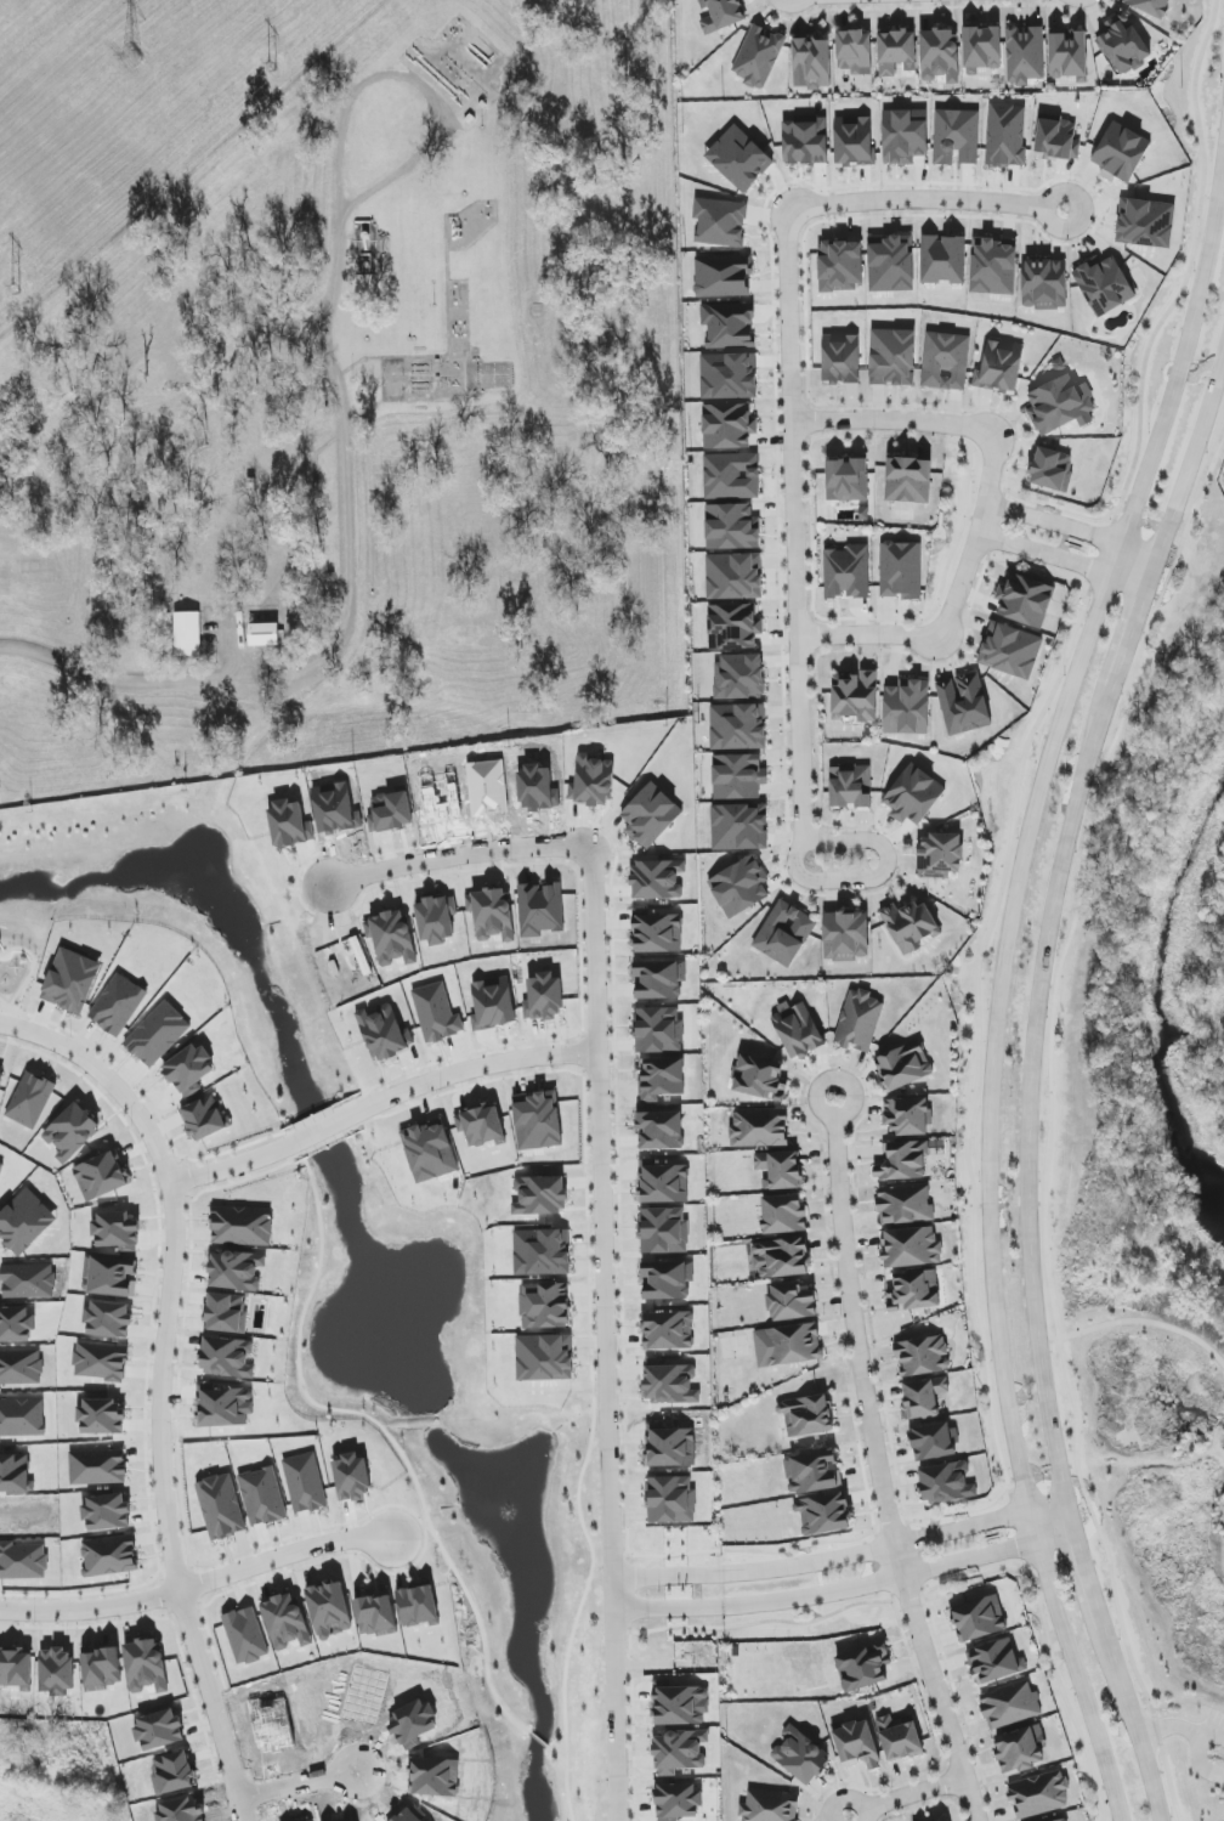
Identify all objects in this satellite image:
road: (967, 6)
building: (1151, 6)
building: (721, 15)
building: (1123, 45)
building: (981, 49)
building: (855, 52)
building: (896, 52)
building: (940, 55)
building: (1025, 55)
building: (1069, 55)
power tower: (134, 57)
building: (759, 57)
building: (811, 63)
road: (72, 69)
power tower: (273, 69)
road: (358, 89)
building: (905, 136)
building: (956, 137)
building: (854, 140)
building: (806, 141)
building: (1121, 153)
building: (739, 158)
road: (1052, 198)
road: (917, 199)
building: (720, 222)
building: (1146, 224)
building: (942, 260)
building: (891, 264)
building: (840, 266)
building: (993, 267)
building: (722, 276)
road: (1188, 277)
building: (1044, 284)
building: (1104, 285)
power tower: (16, 292)
building: (729, 324)
building: (892, 357)
building: (841, 358)
building: (946, 361)
building: (1001, 368)
building: (729, 377)
building: (1060, 406)
road: (939, 423)
building: (729, 426)
road: (1191, 465)
building: (1052, 470)
building: (731, 476)
building: (848, 480)
building: (908, 480)
road: (1058, 525)
road: (795, 526)
building: (732, 527)
road: (1047, 554)
road: (1139, 567)
building: (901, 570)
building: (846, 572)
building: (733, 576)
building: (1025, 600)
road: (346, 613)
building: (733, 627)
road: (1133, 633)
building: (187, 634)
building: (263, 634)
road: (934, 639)
building: (1010, 650)
building: (739, 677)
building: (855, 696)
building: (964, 703)
building: (907, 707)
building: (738, 726)
building: (738, 776)
building: (593, 781)
building: (851, 787)
building: (913, 796)
building: (651, 815)
building: (739, 827)
road: (459, 855)
building: (940, 855)
road: (874, 877)
building: (657, 880)
building: (739, 887)
building: (540, 910)
building: (492, 914)
building: (437, 918)
building: (911, 926)
building: (657, 932)
building: (784, 933)
building: (845, 935)
building: (659, 979)
building: (72, 980)
road: (1002, 990)
building: (544, 997)
building: (493, 1003)
road: (976, 1013)
building: (858, 1020)
building: (798, 1029)
building: (658, 1030)
building: (384, 1033)
building: (903, 1067)
road: (478, 1068)
building: (189, 1070)
building: (1, 1079)
building: (661, 1079)
building: (759, 1079)
road: (1032, 1096)
building: (30, 1101)
road: (823, 1110)
building: (907, 1116)
road: (1049, 1118)
building: (205, 1119)
building: (538, 1121)
building: (481, 1126)
building: (760, 1127)
road: (328, 1129)
building: (661, 1130)
building: (73, 1132)
building: (430, 1150)
building: (902, 1161)
road: (232, 1167)
building: (1, 1169)
building: (780, 1170)
building: (102, 1176)
building: (663, 1183)
building: (540, 1195)
building: (905, 1204)
building: (783, 1214)
building: (25, 1222)
building: (242, 1226)
building: (117, 1231)
building: (664, 1231)
building: (911, 1248)
building: (542, 1252)
building: (781, 1257)
building: (236, 1271)
building: (110, 1276)
building: (667, 1280)
building: (914, 1291)
building: (792, 1301)
building: (545, 1306)
building: (227, 1313)
building: (109, 1319)
road: (1145, 1323)
building: (668, 1330)
road: (606, 1331)
building: (788, 1345)
road: (1084, 1350)
building: (923, 1356)
building: (227, 1358)
building: (545, 1358)
road: (163, 1384)
building: (670, 1384)
building: (923, 1397)
building: (223, 1407)
building: (102, 1416)
building: (806, 1416)
building: (934, 1442)
building: (669, 1447)
road: (1116, 1458)
building: (98, 1467)
building: (812, 1472)
road: (880, 1472)
building: (351, 1477)
building: (305, 1483)
building: (946, 1483)
building: (262, 1497)
building: (670, 1499)
building: (221, 1506)
building: (107, 1512)
building: (824, 1515)
park: (1162, 1537)
building: (109, 1556)
road: (841, 1556)
road: (1084, 1572)
road: (199, 1585)
road: (845, 1589)
building: (418, 1606)
building: (375, 1613)
building: (979, 1618)
building: (287, 1622)
building: (992, 1662)
building: (147, 1666)
building: (863, 1668)
building: (16, 1669)
road: (1188, 1702)
building: (1010, 1706)
parking lot: (1218, 1718)
road: (1169, 1727)
road: (1135, 1729)
building: (899, 1737)
building: (856, 1744)
building: (1018, 1751)
road: (1197, 1751)
building: (679, 1752)
building: (800, 1757)
road: (299, 1786)
road: (916, 1793)
building: (1039, 1794)
road: (849, 1799)
building: (678, 1802)
building: (770, 1806)
building: (1061, 1820)

